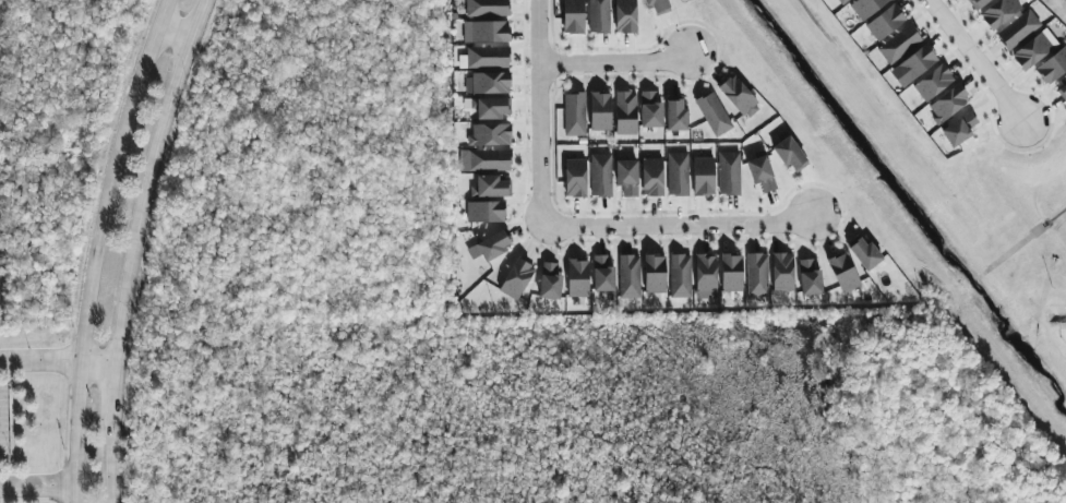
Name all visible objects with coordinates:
building: (842, 1)
building: (977, 3)
building: (658, 7)
building: (865, 7)
building: (486, 8)
building: (998, 12)
building: (572, 16)
building: (598, 16)
building: (624, 16)
building: (885, 22)
building: (1017, 29)
building: (486, 32)
road: (172, 33)
building: (899, 44)
building: (1033, 49)
building: (484, 58)
road: (613, 61)
road: (977, 62)
building: (913, 65)
building: (1052, 65)
building: (933, 82)
building: (487, 84)
building: (1063, 91)
building: (739, 97)
building: (947, 104)
building: (491, 108)
road: (538, 109)
building: (649, 110)
building: (599, 111)
building: (625, 113)
building: (712, 113)
building: (574, 115)
building: (675, 115)
building: (959, 129)
building: (489, 134)
building: (790, 155)
building: (489, 160)
building: (760, 172)
building: (676, 173)
building: (728, 173)
building: (600, 175)
building: (703, 176)
building: (626, 177)
building: (651, 177)
building: (574, 178)
road: (146, 180)
building: (490, 187)
building: (484, 212)
road: (676, 224)
building: (490, 245)
road: (94, 247)
building: (864, 253)
building: (782, 272)
building: (601, 273)
building: (730, 273)
building: (654, 274)
building: (843, 274)
building: (756, 275)
building: (628, 276)
building: (680, 276)
building: (705, 276)
building: (577, 277)
building: (809, 277)
building: (516, 278)
building: (549, 282)
road: (39, 360)
road: (96, 364)
road: (111, 409)
road: (109, 478)
road: (36, 486)

